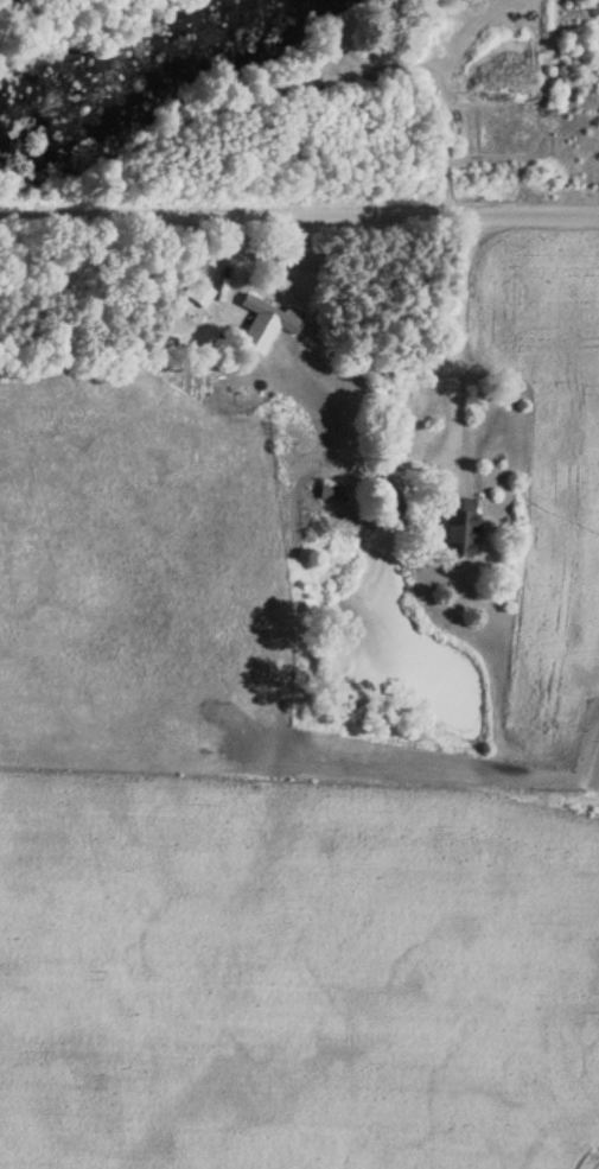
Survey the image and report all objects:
road: (299, 212)
building: (275, 313)
building: (331, 493)
building: (460, 528)
crop: (294, 976)

